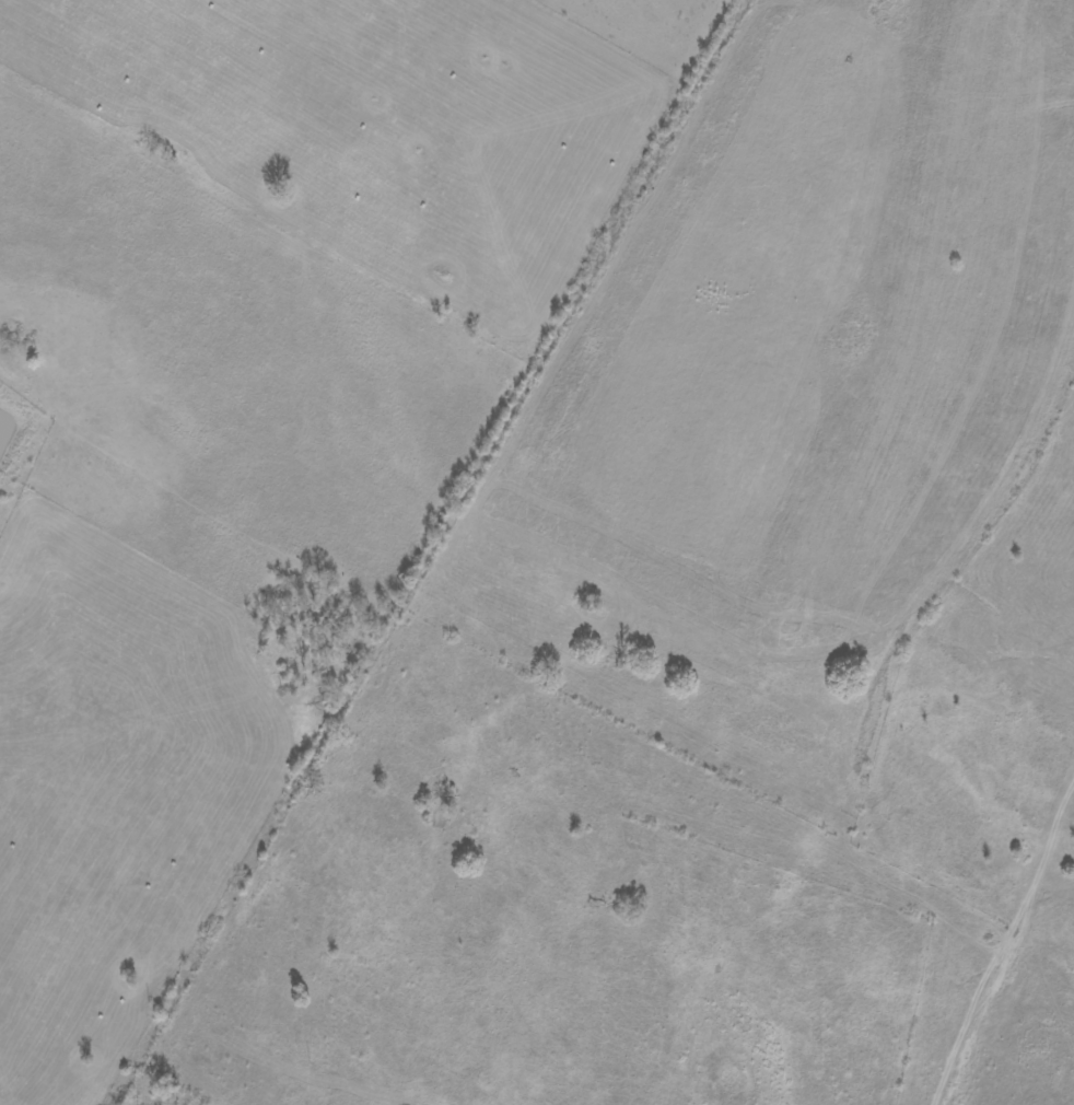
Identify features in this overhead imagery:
road: (447, 552)
road: (1036, 924)

